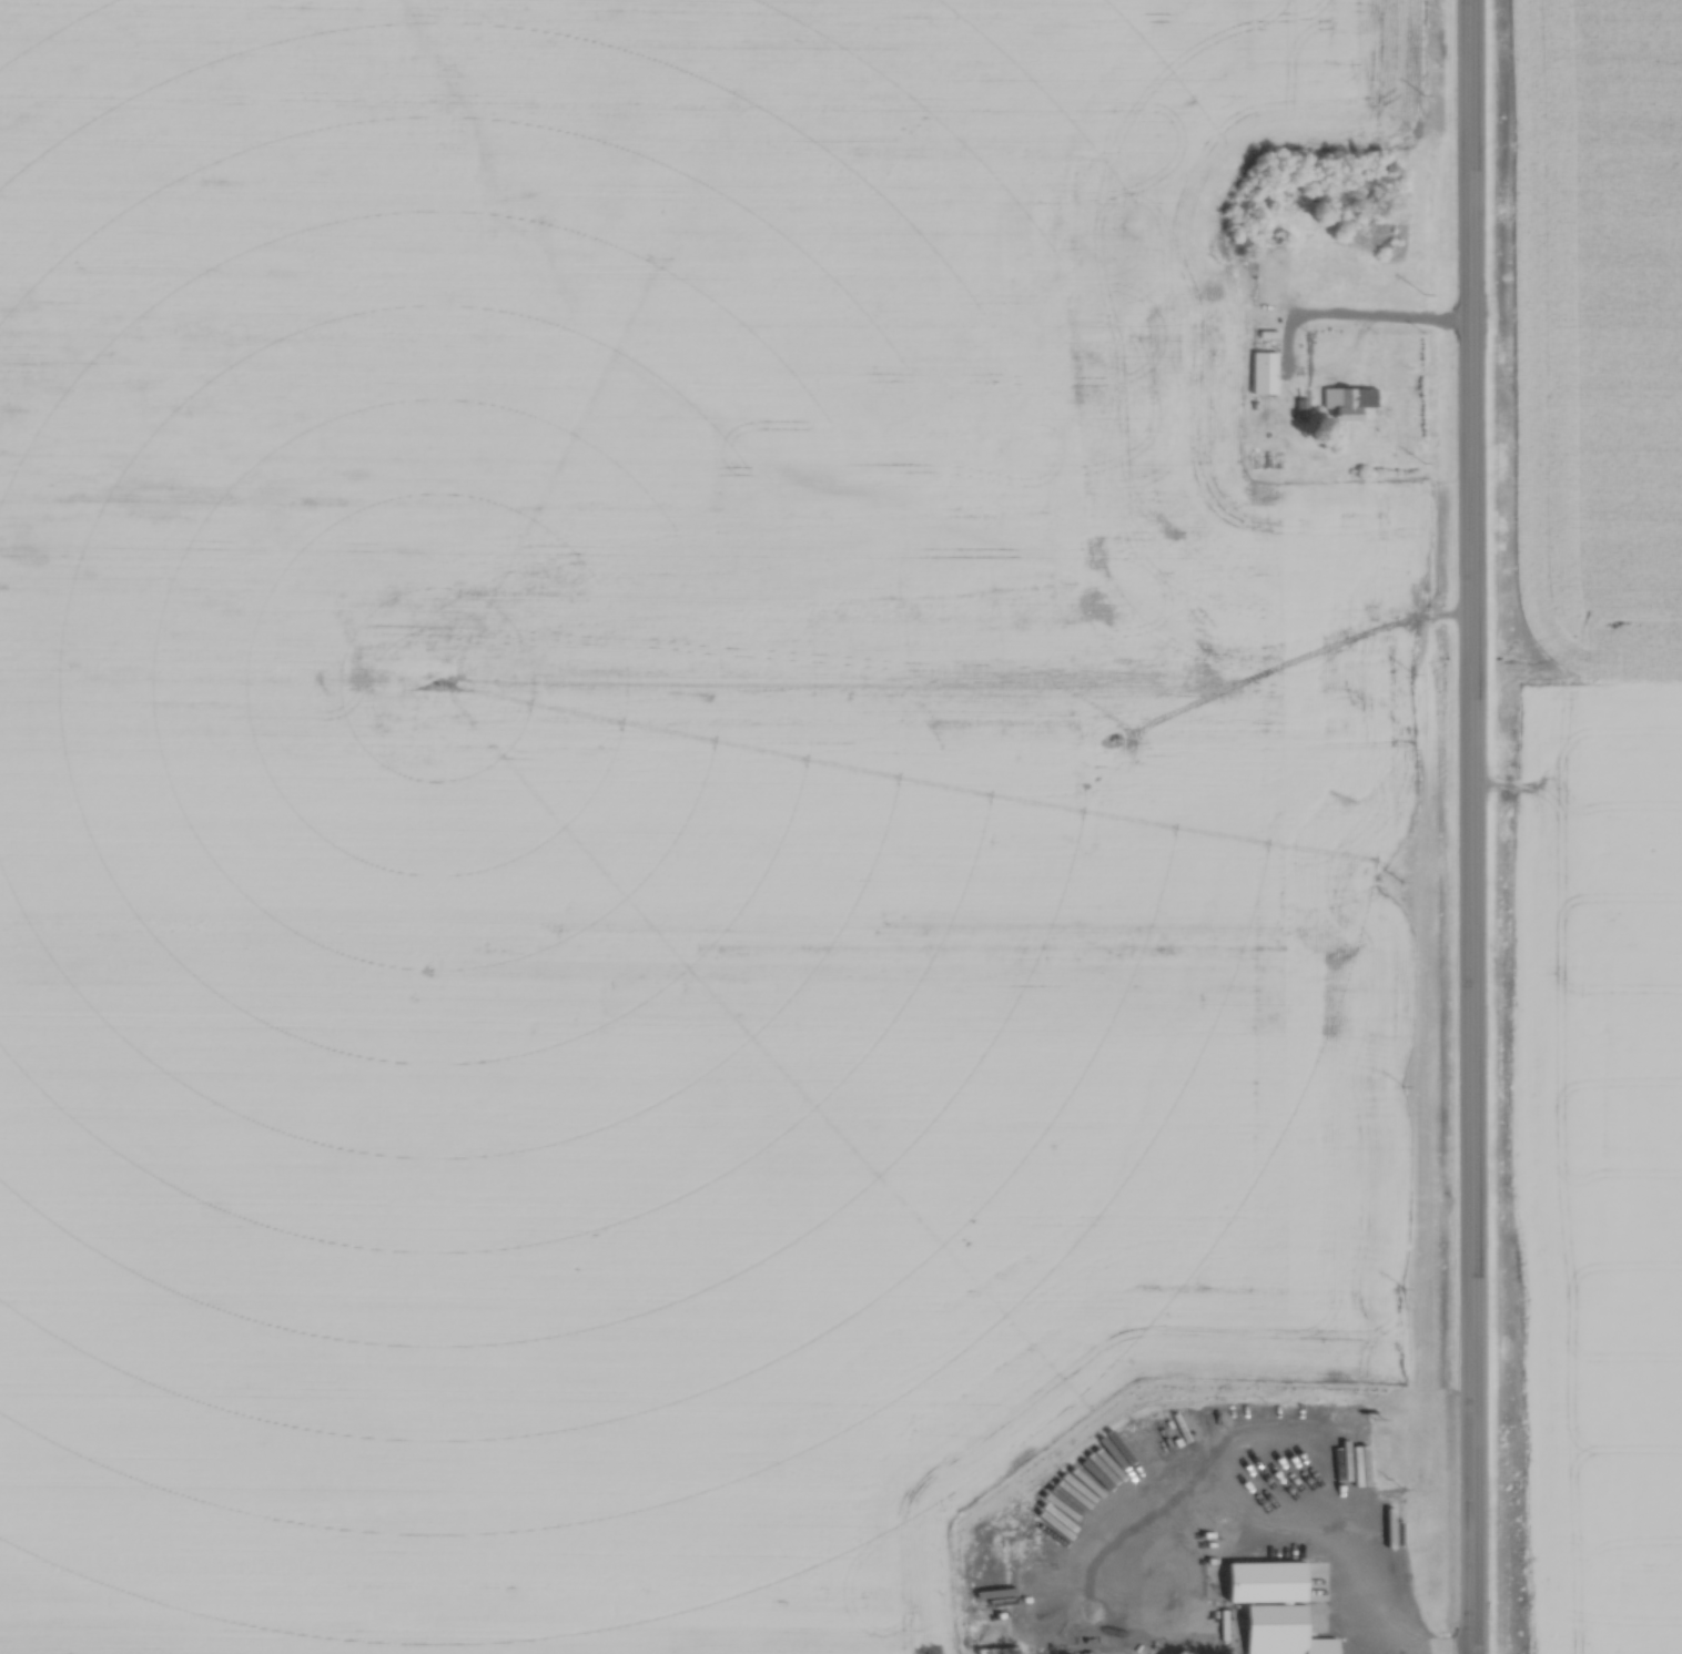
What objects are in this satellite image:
road: (1354, 312)
building: (1263, 369)
building: (1344, 400)
road: (1470, 826)
building: (1341, 1434)
road: (1338, 1516)
road: (1294, 1567)
building: (1311, 1620)
building: (1274, 1627)
road: (1369, 1645)

